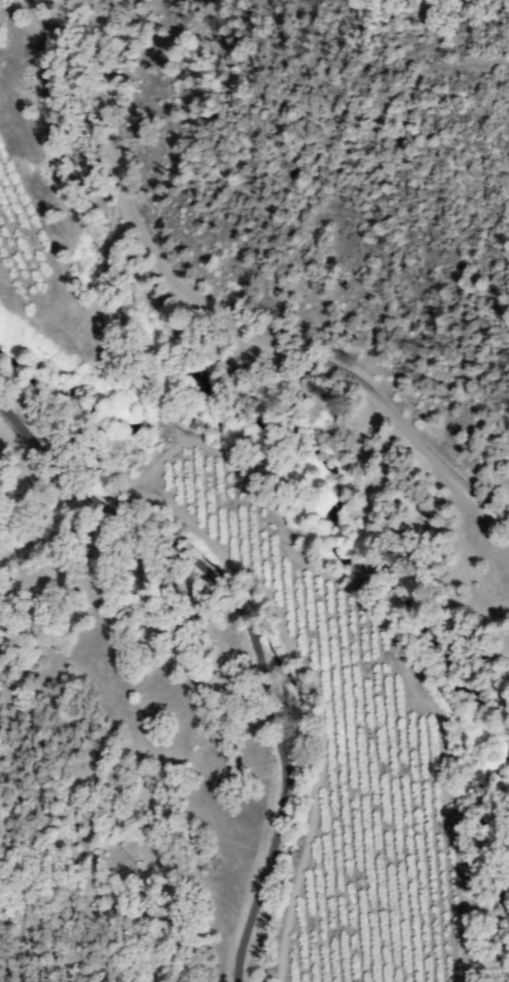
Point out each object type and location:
road: (98, 67)
road: (284, 343)
road: (269, 619)

